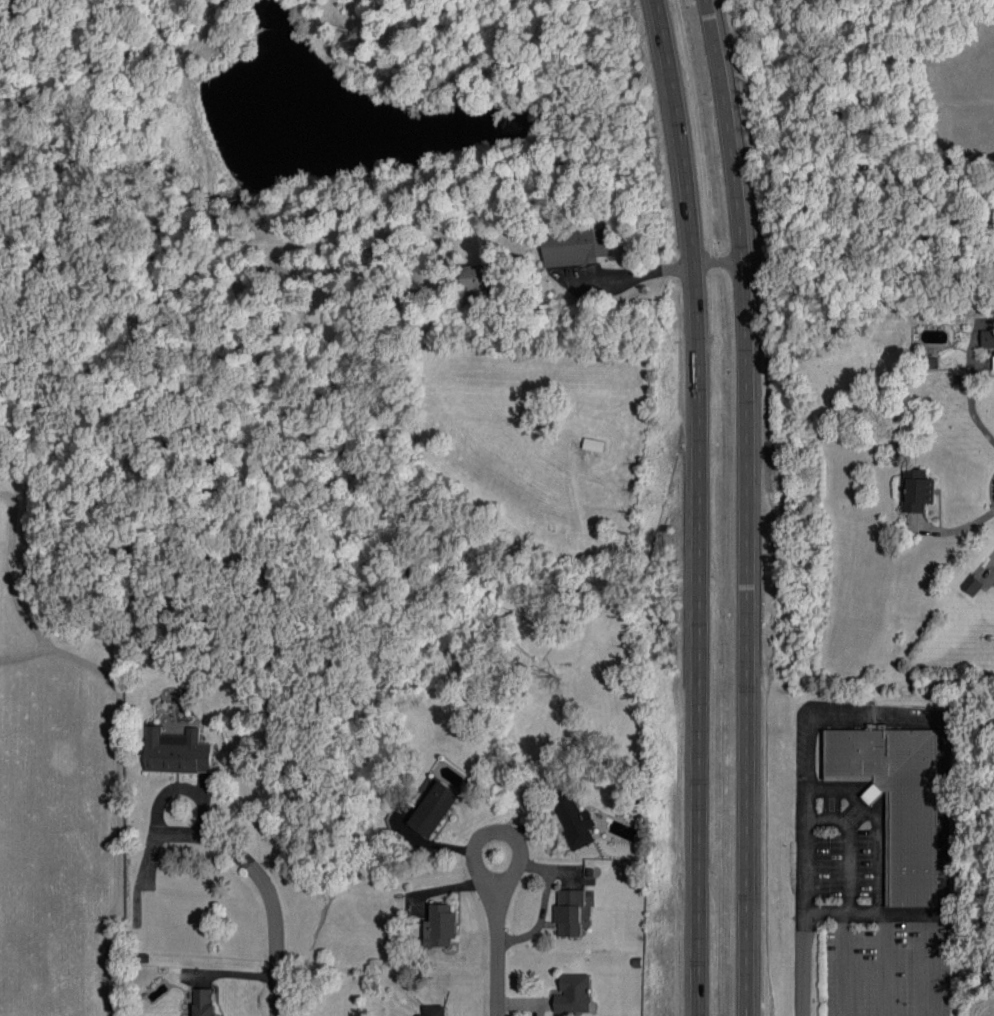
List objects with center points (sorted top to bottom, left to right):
building: (368, 56)
building: (576, 246)
road: (655, 269)
building: (478, 276)
building: (987, 338)
building: (928, 362)
building: (993, 366)
road: (971, 411)
building: (917, 490)
road: (699, 506)
road: (749, 506)
road: (952, 529)
building: (971, 584)
road: (872, 711)
building: (176, 751)
road: (197, 797)
building: (896, 801)
building: (434, 809)
building: (574, 819)
road: (504, 833)
building: (569, 912)
road: (937, 917)
building: (440, 925)
road: (278, 941)
road: (804, 945)
road: (498, 958)
road: (843, 965)
building: (574, 994)
building: (204, 1002)
building: (434, 1010)

